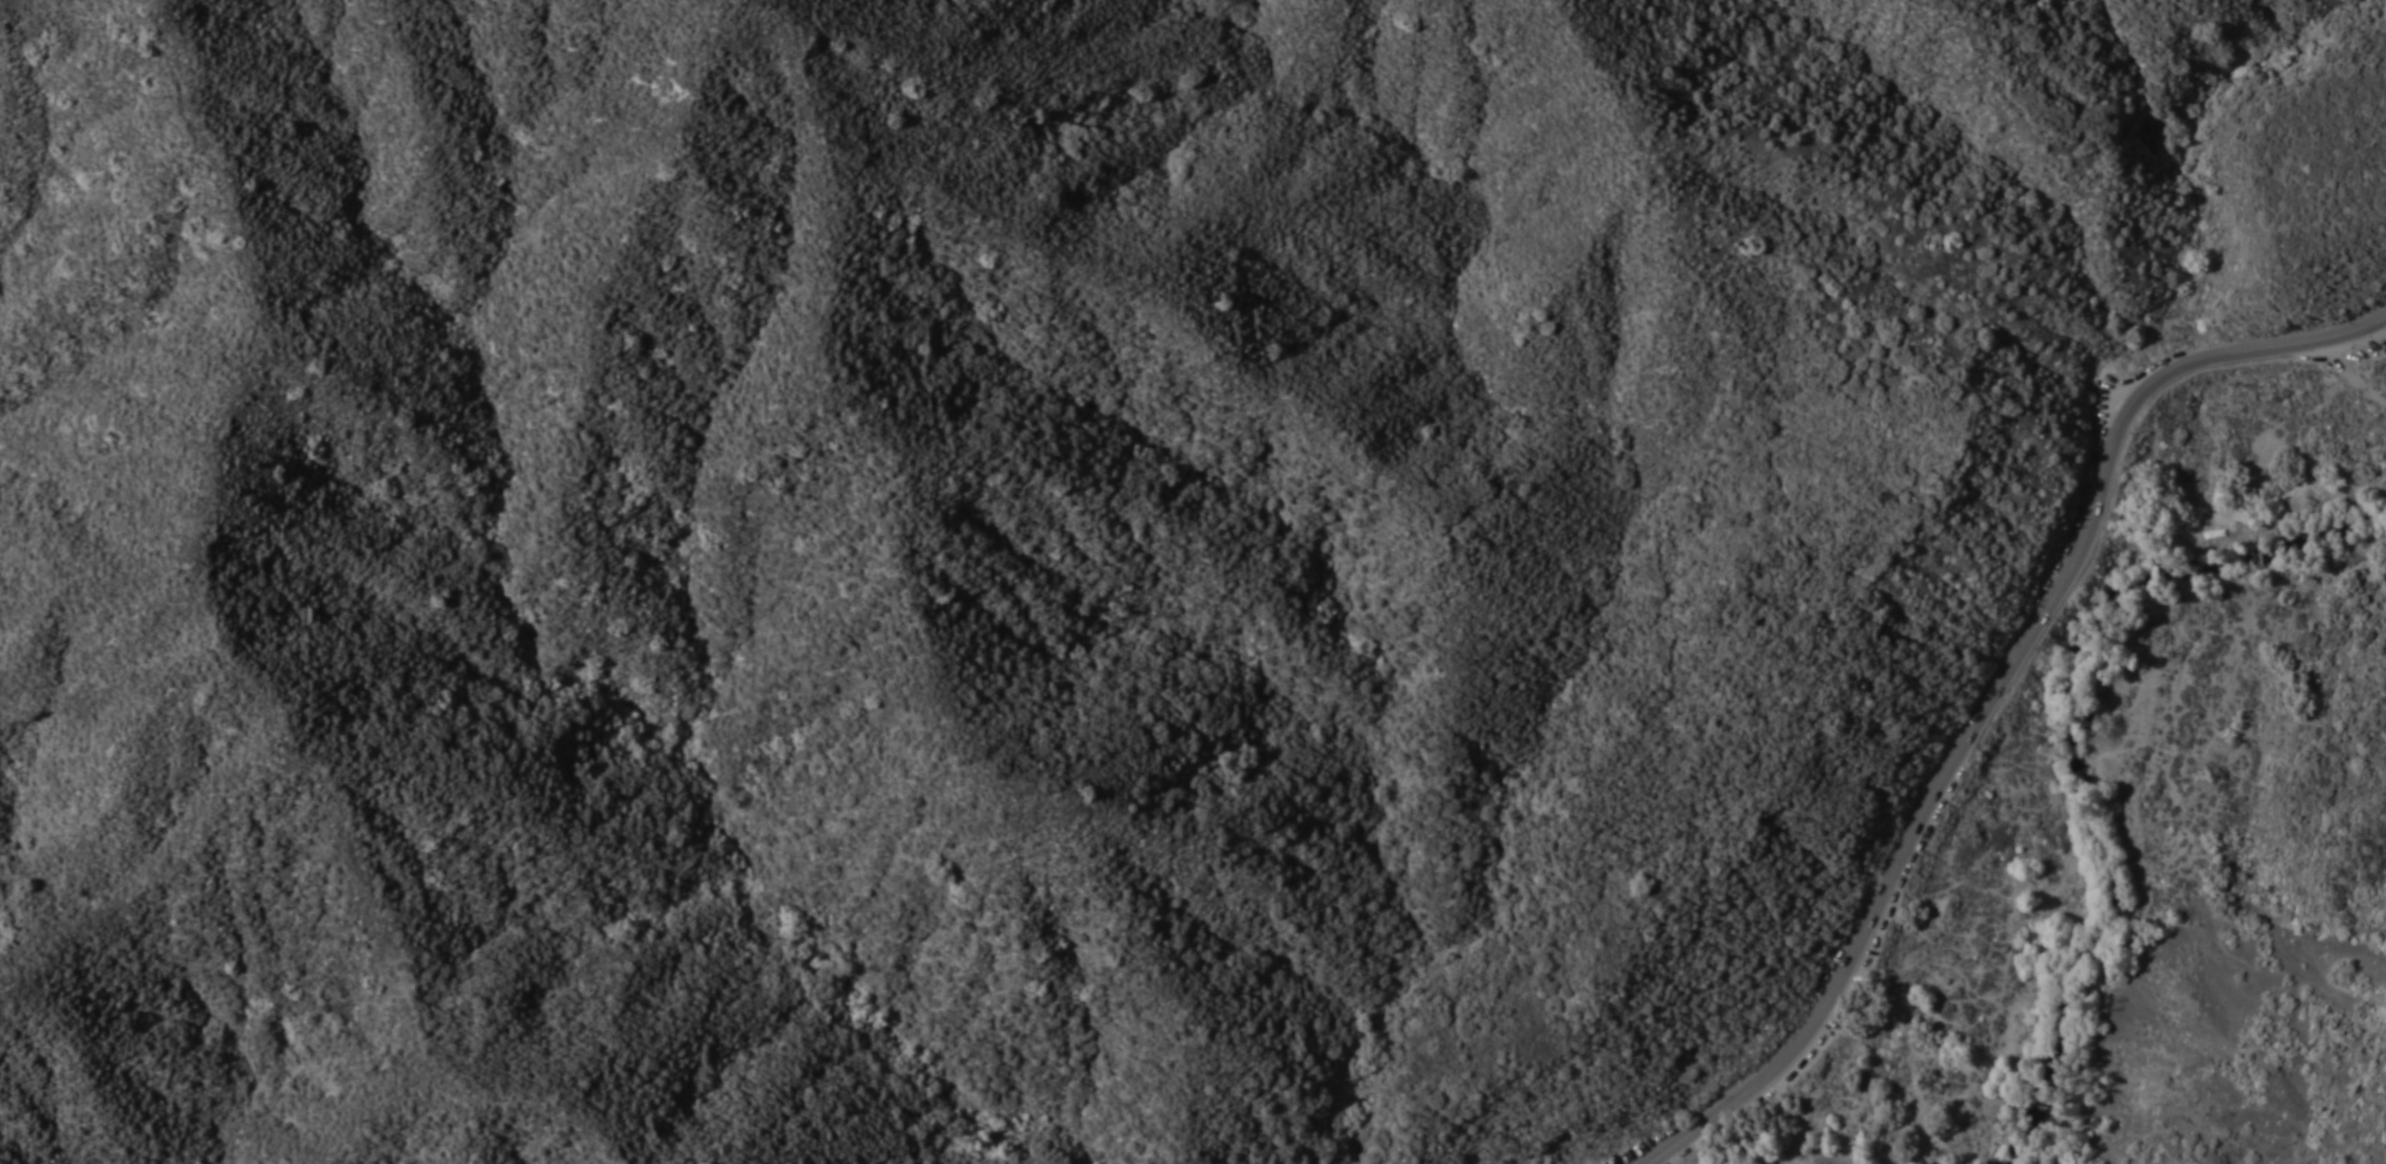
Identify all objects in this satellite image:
road: (2350, 372)
road: (1987, 692)
river: (2096, 767)

